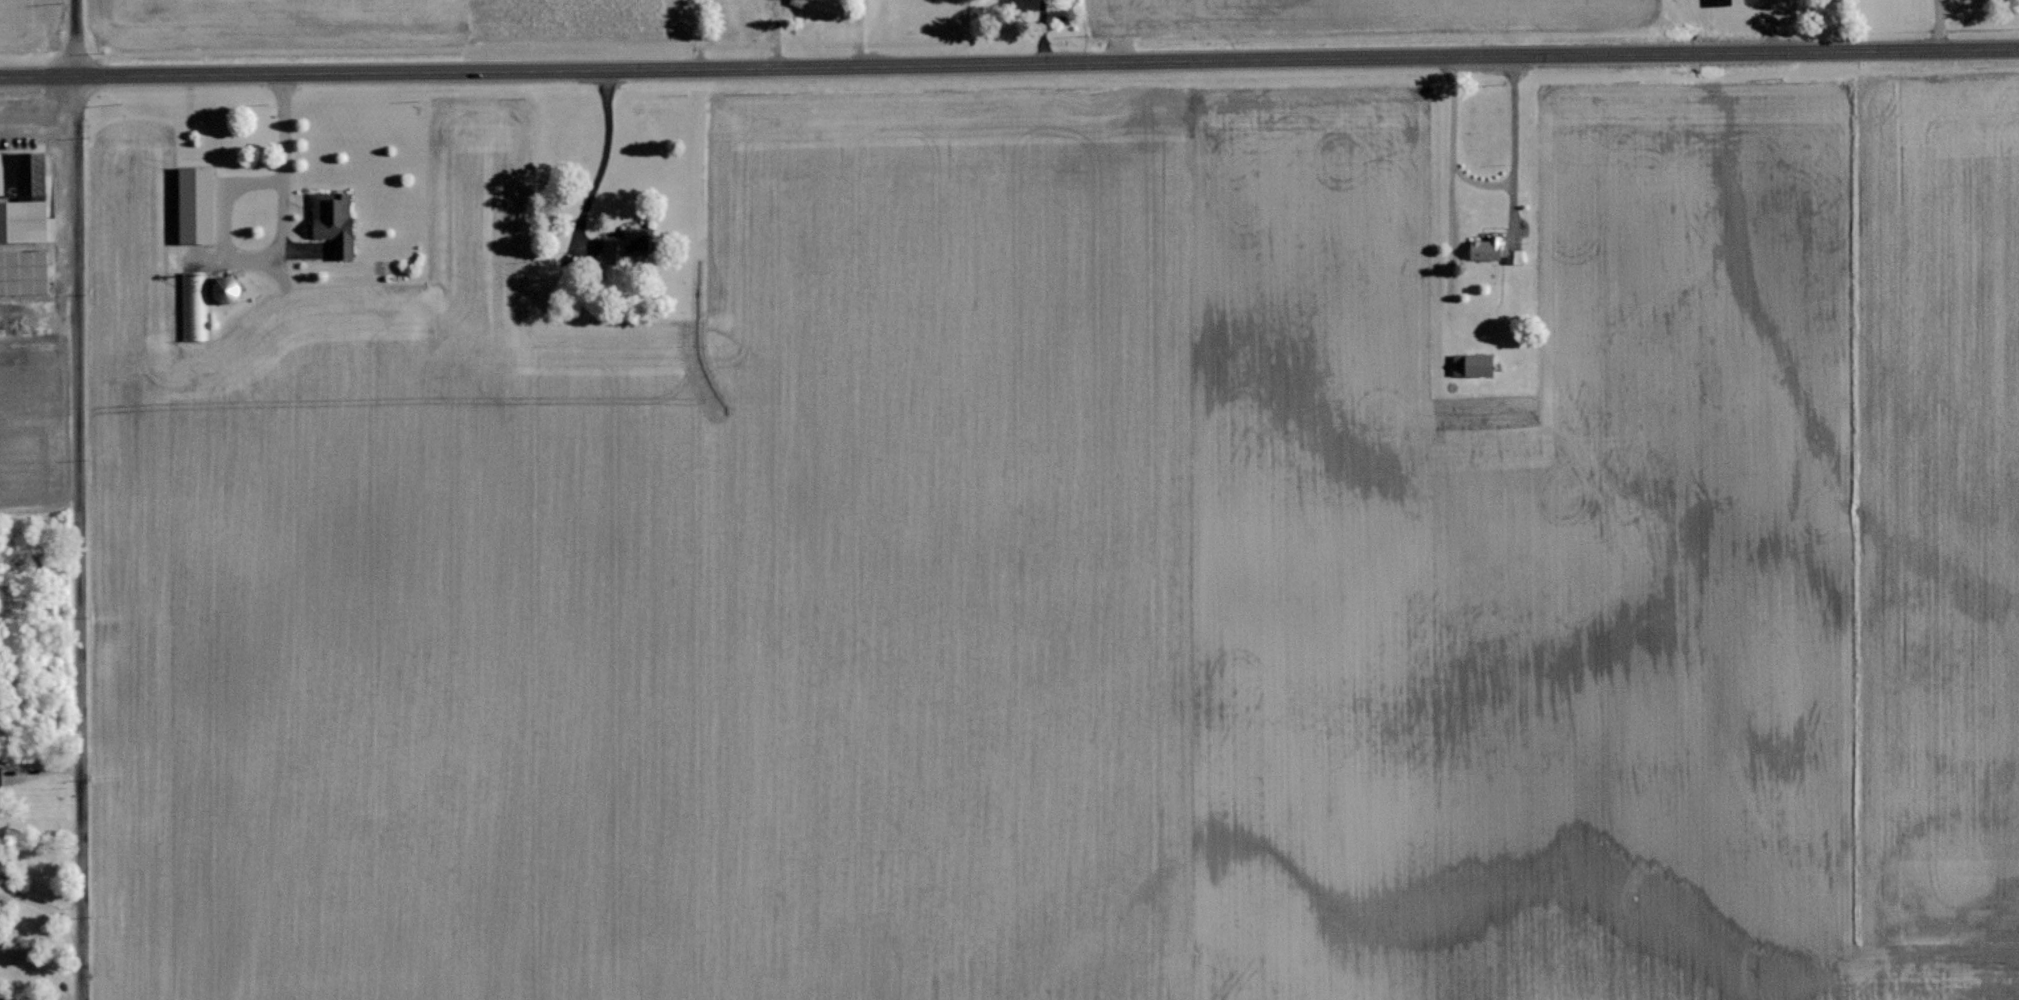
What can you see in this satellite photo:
building: (1726, 2)
road: (1009, 60)
road: (44, 114)
road: (606, 156)
building: (201, 205)
building: (325, 225)
building: (636, 244)
building: (27, 272)
building: (232, 291)
building: (194, 306)
building: (1469, 365)
road: (77, 500)
building: (1, 777)
road: (41, 903)

